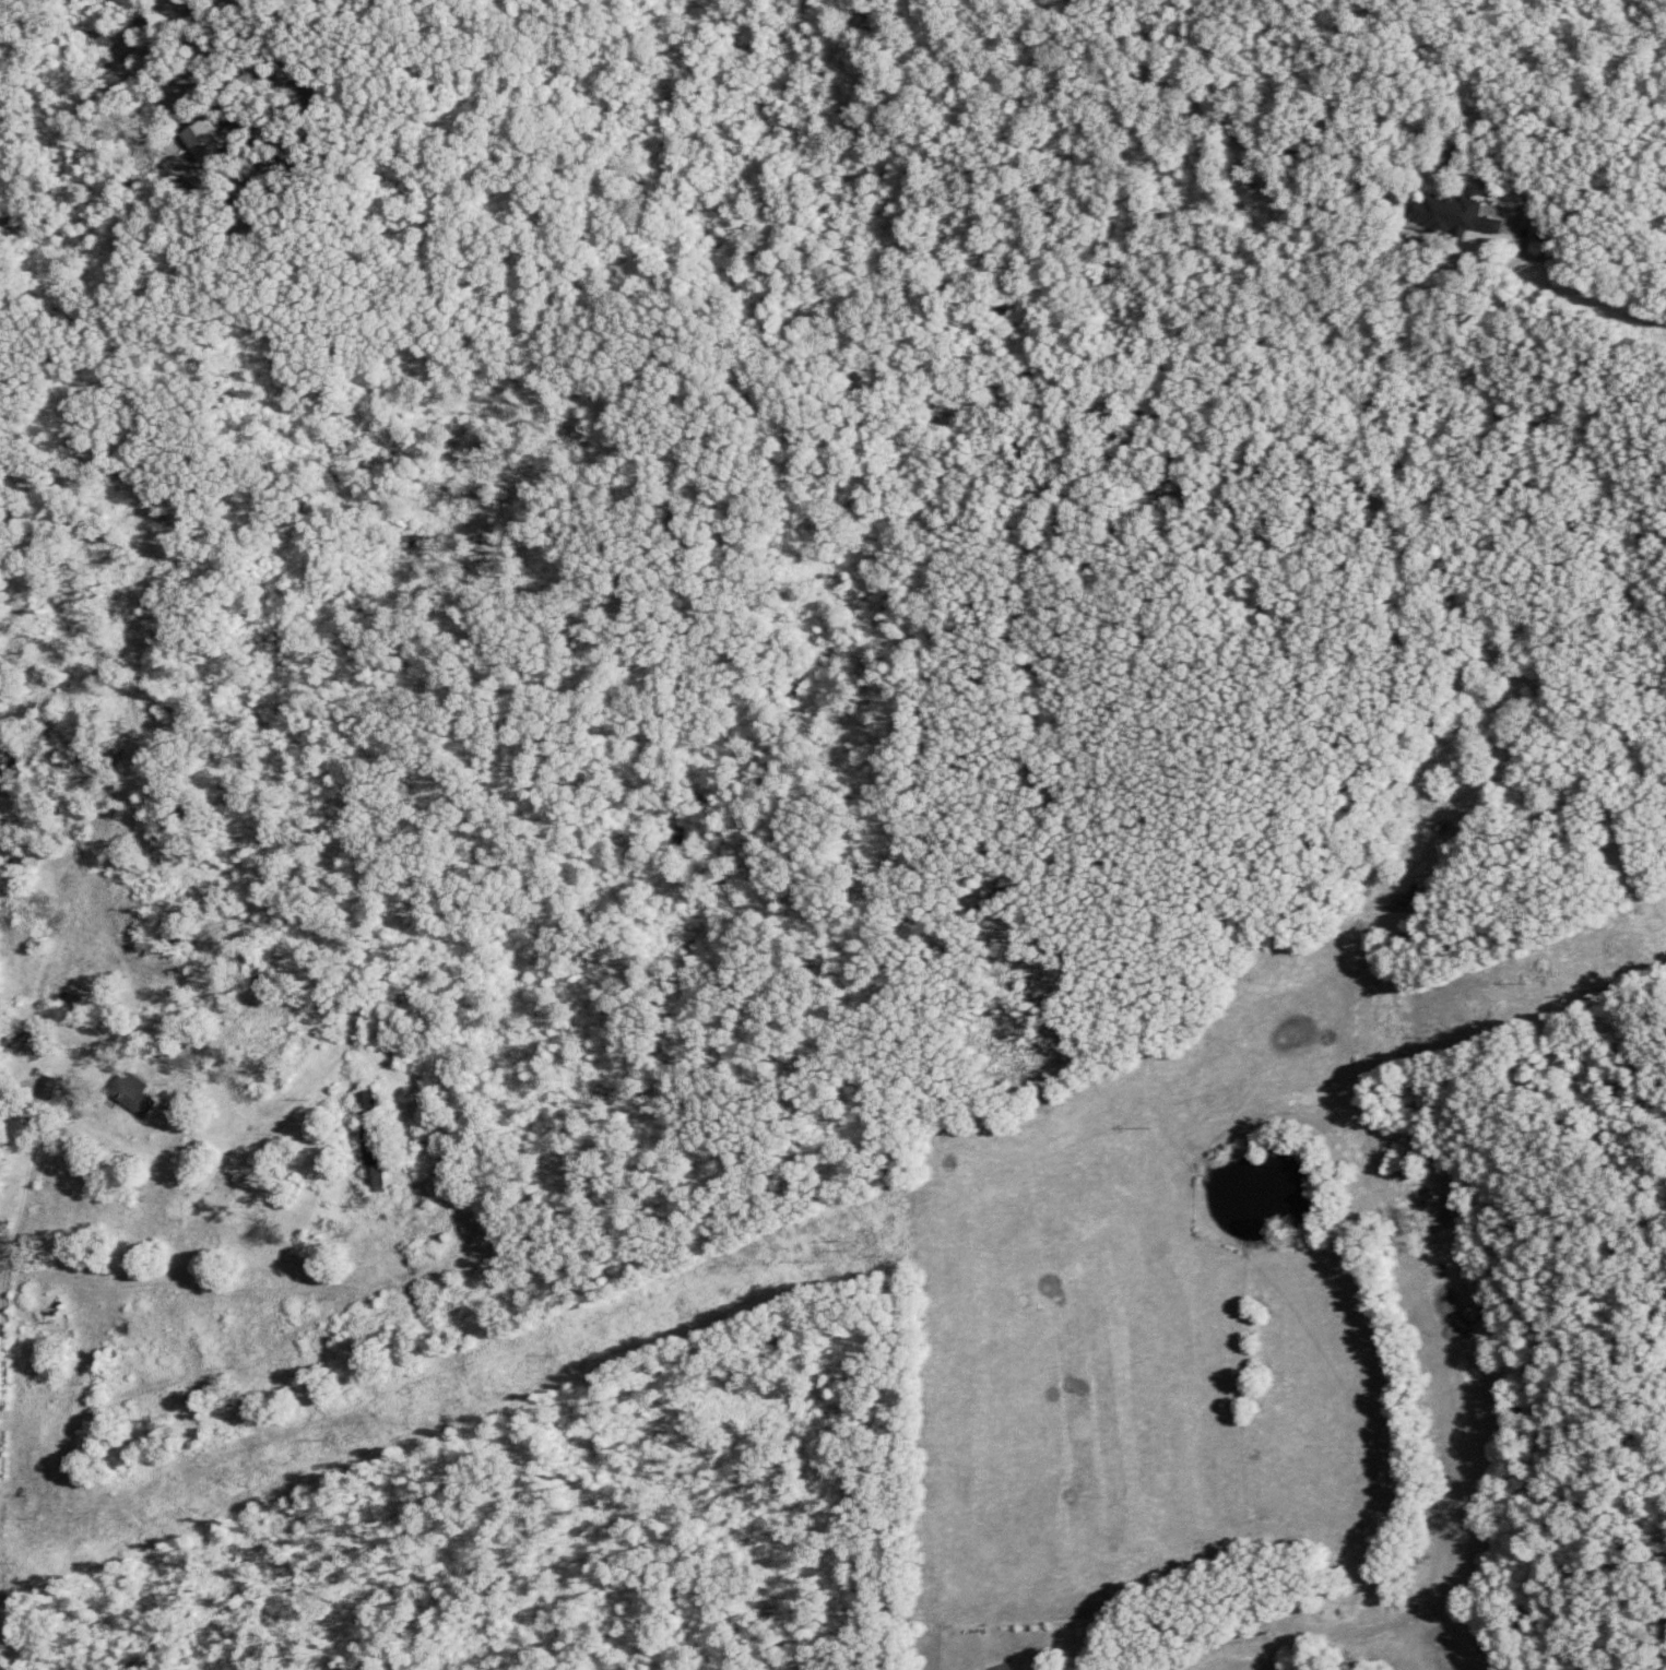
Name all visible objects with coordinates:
road: (147, 49)
road: (1260, 143)
road: (3, 1302)
building: (1016, 1663)

